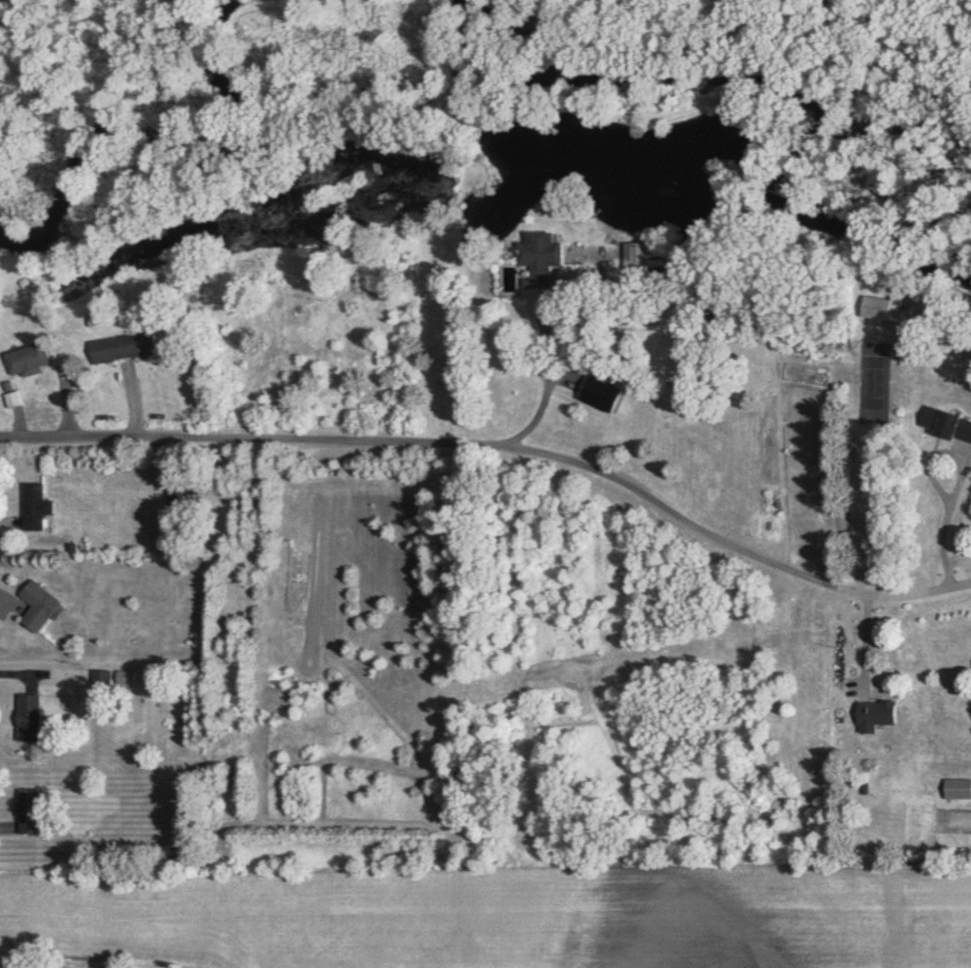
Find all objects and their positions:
building: (645, 255)
building: (543, 259)
building: (884, 308)
building: (125, 347)
building: (30, 359)
road: (544, 391)
building: (948, 424)
road: (502, 448)
building: (181, 494)
building: (37, 507)
road: (948, 525)
building: (41, 607)
road: (865, 644)
road: (22, 673)
building: (102, 682)
building: (877, 715)
building: (30, 717)
building: (958, 788)
building: (29, 811)

